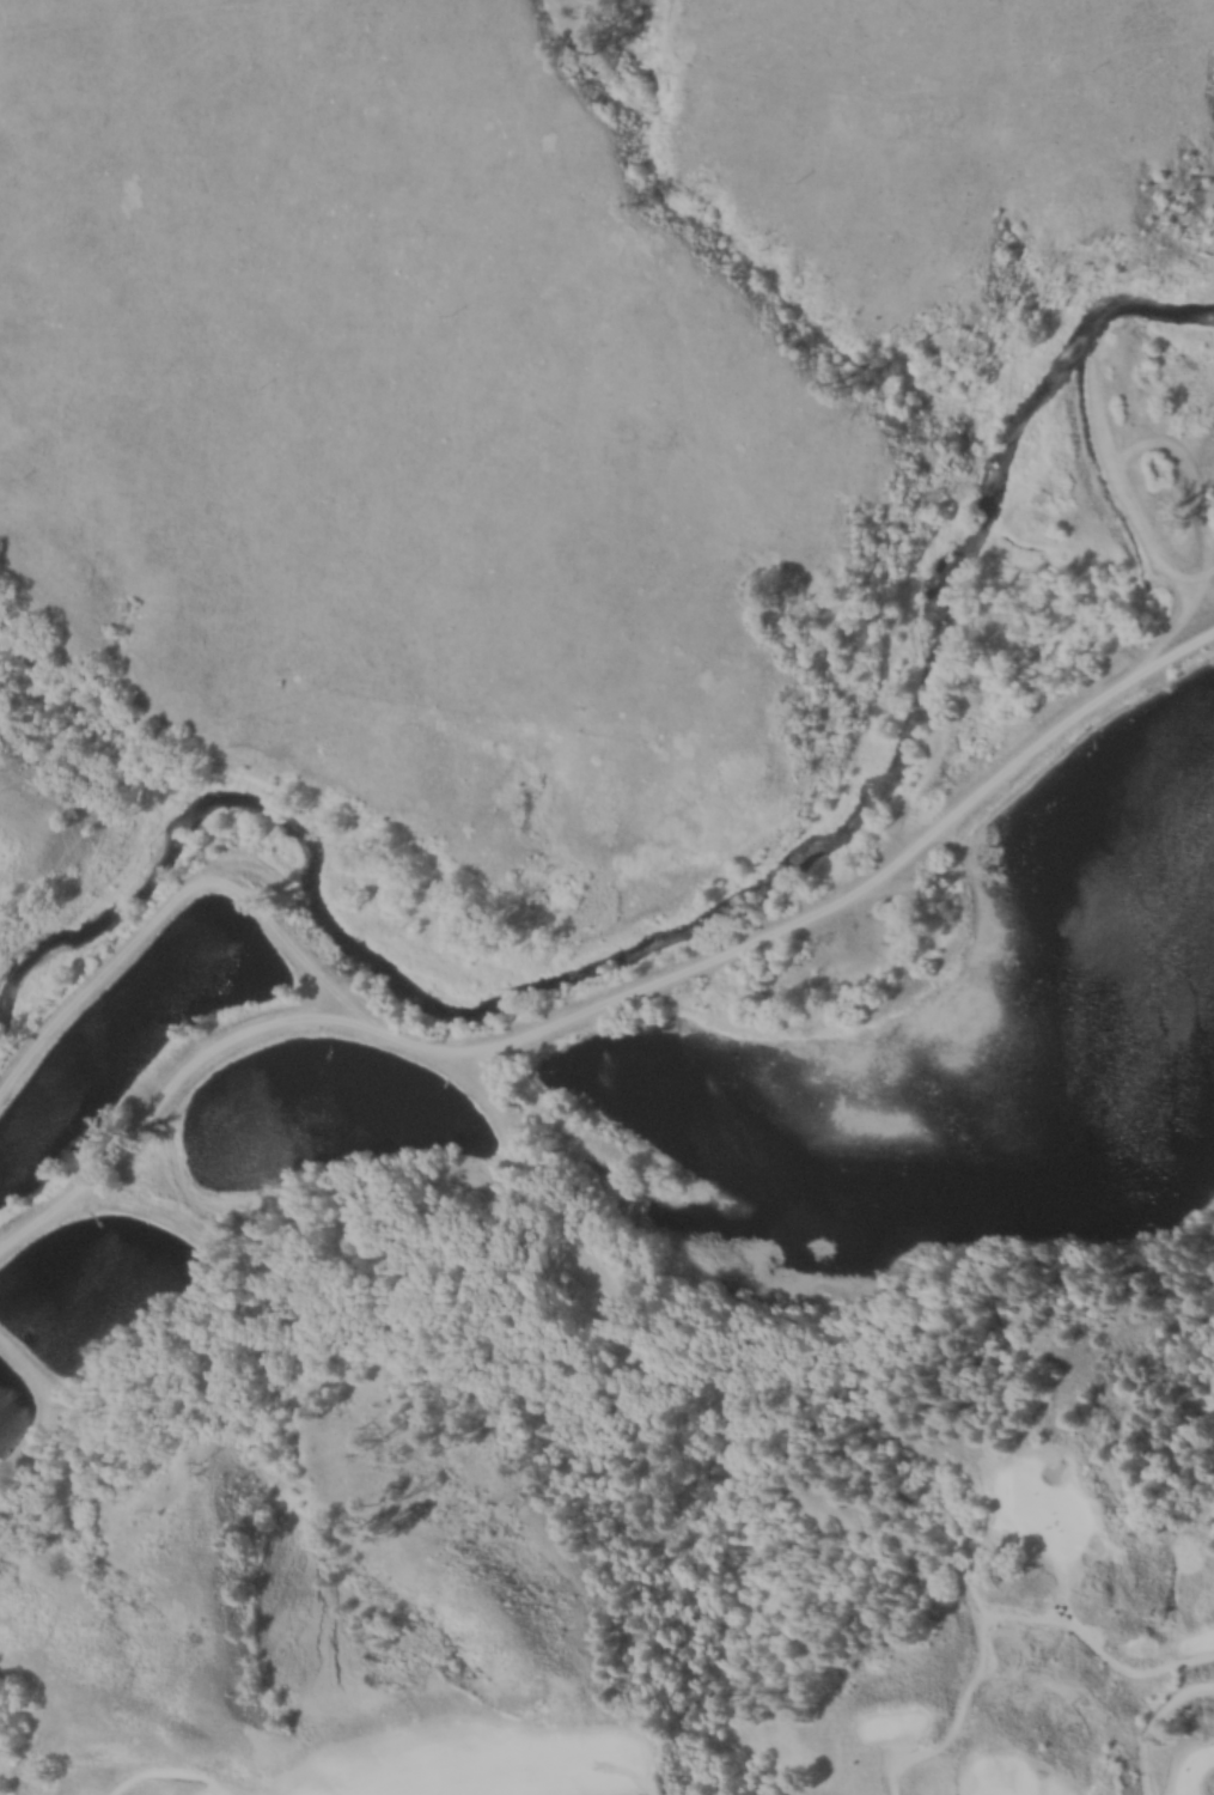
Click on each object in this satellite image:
road: (819, 918)
road: (163, 1096)

